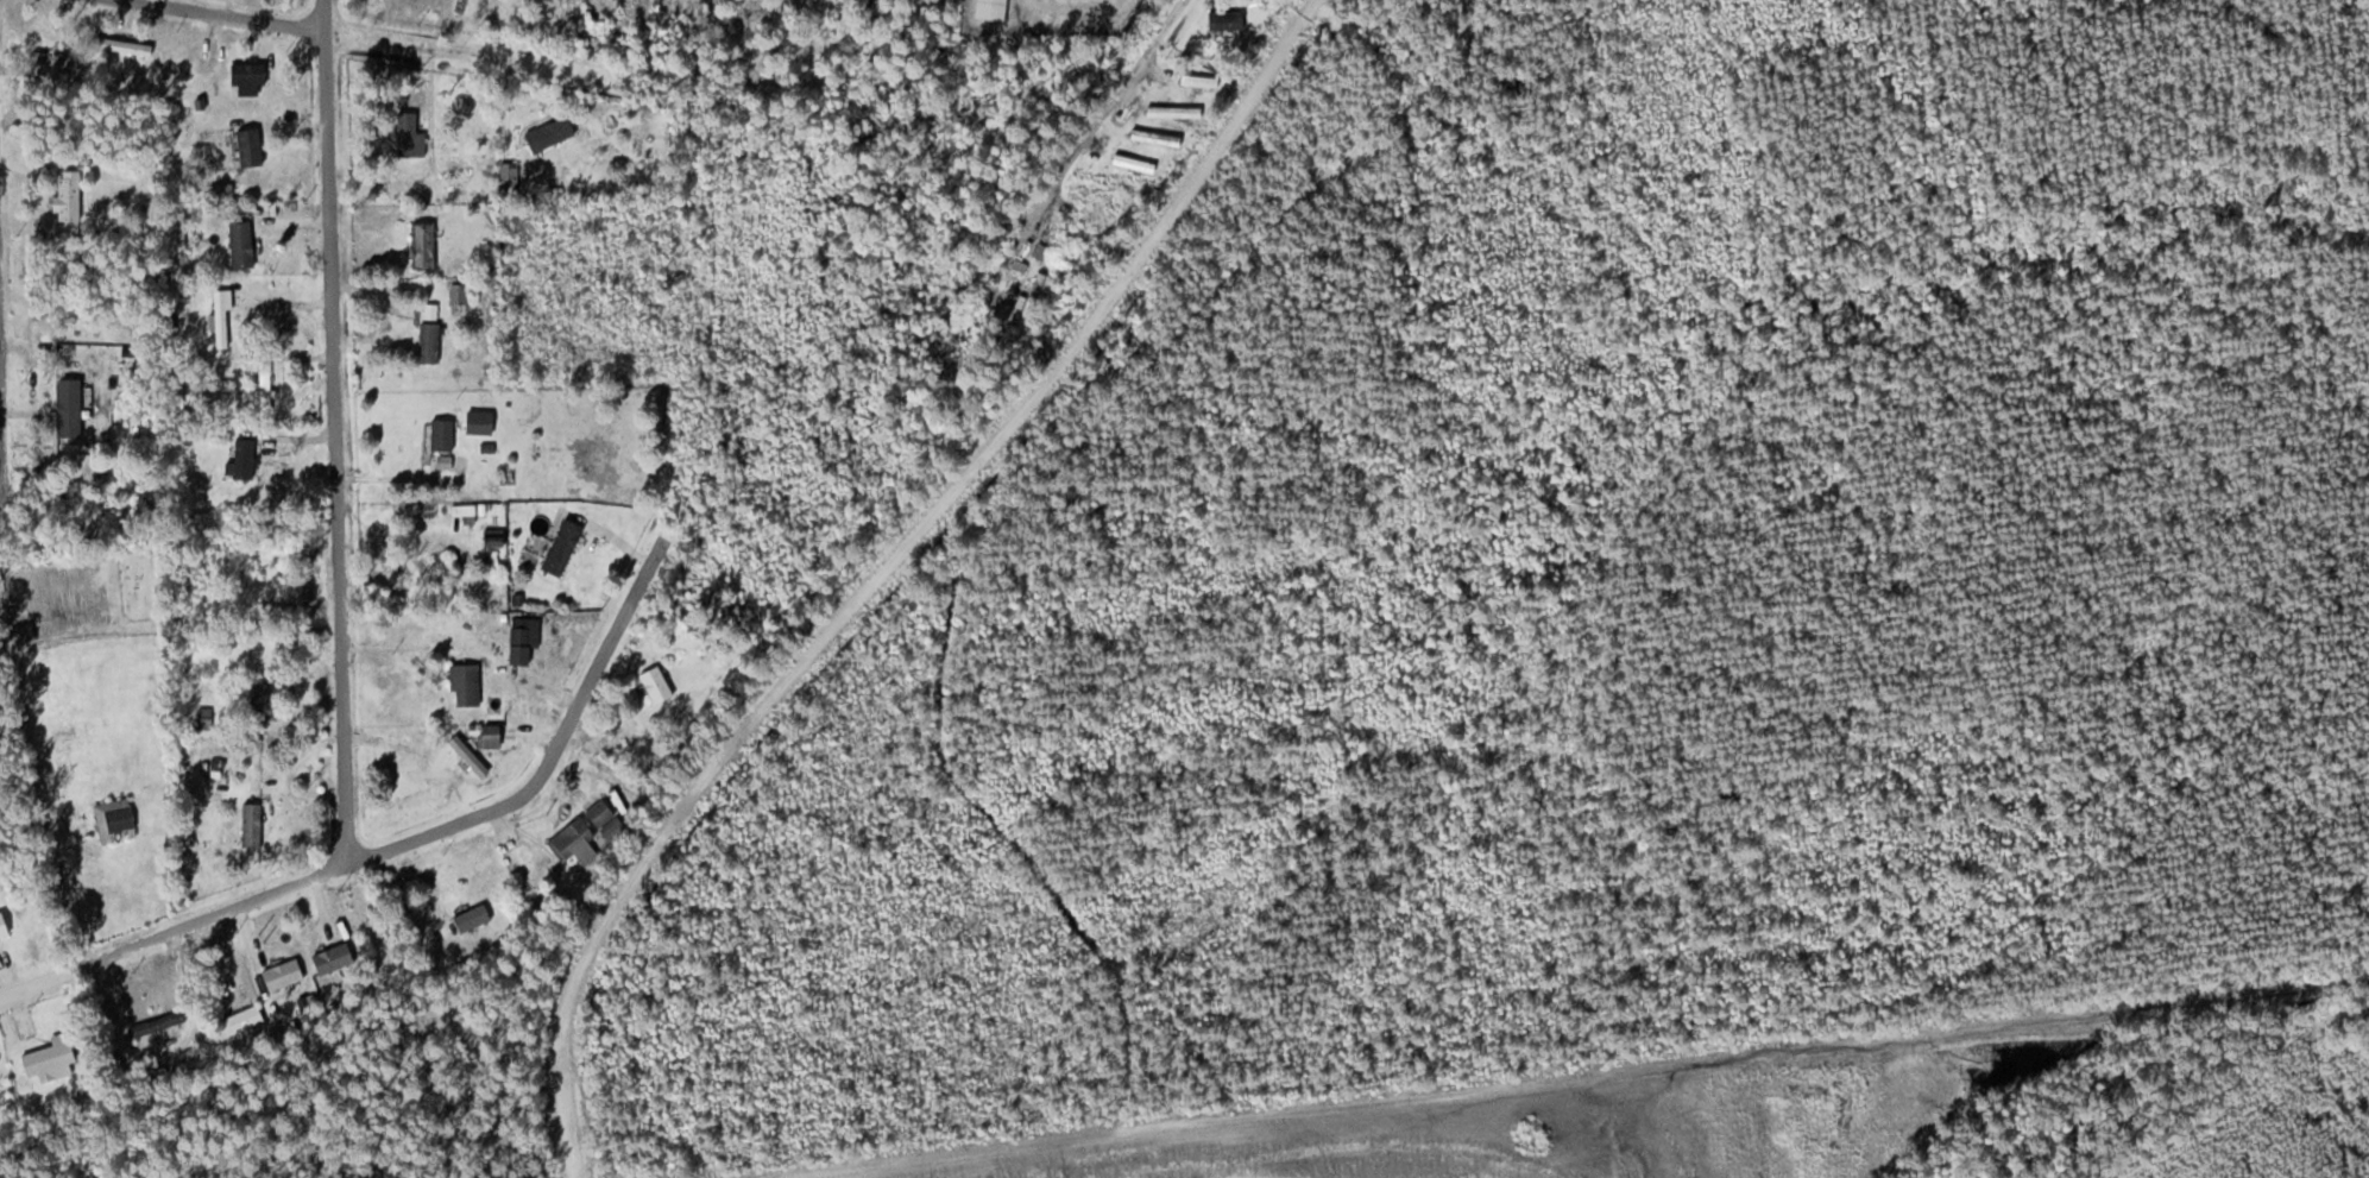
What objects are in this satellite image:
building: (1222, 20)
road: (408, 40)
building: (67, 63)
building: (171, 65)
building: (251, 73)
road: (1105, 106)
building: (409, 132)
building: (554, 132)
building: (253, 146)
building: (1129, 163)
building: (511, 174)
building: (71, 194)
building: (245, 242)
building: (427, 242)
building: (1032, 286)
building: (460, 295)
building: (222, 317)
building: (433, 342)
building: (266, 386)
building: (483, 422)
road: (332, 429)
building: (445, 434)
building: (247, 458)
building: (497, 537)
building: (566, 546)
building: (265, 575)
building: (528, 631)
building: (468, 684)
building: (660, 684)
building: (273, 687)
building: (208, 717)
building: (494, 736)
building: (471, 756)
building: (609, 818)
building: (118, 819)
building: (253, 824)
building: (574, 838)
road: (397, 840)
building: (474, 918)
building: (336, 957)
building: (286, 974)
building: (244, 1020)
building: (158, 1023)
building: (53, 1058)
building: (0, 1095)

